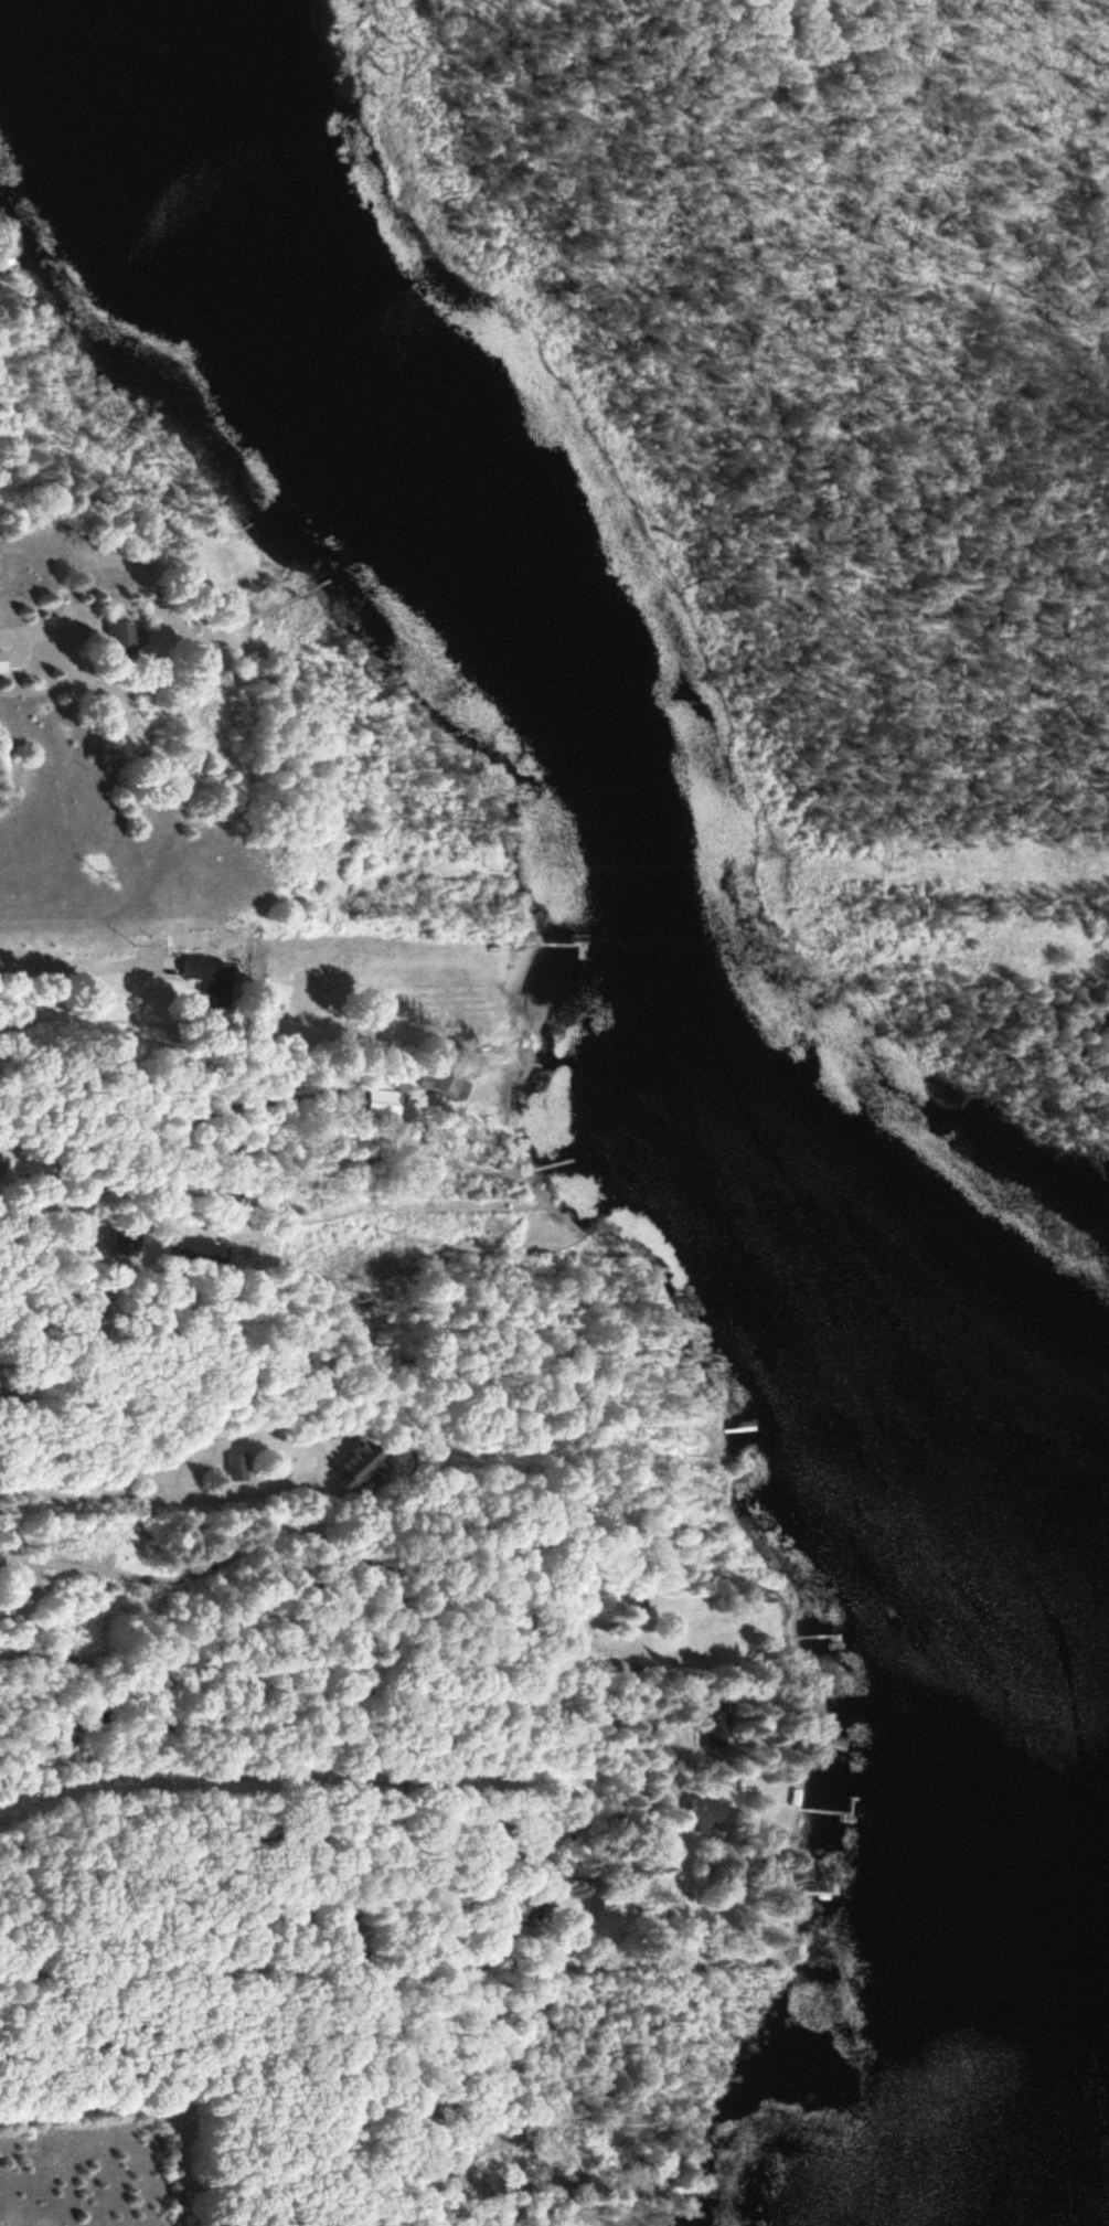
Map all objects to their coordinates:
building: (114, 640)
building: (211, 979)
building: (447, 1083)
building: (386, 1103)
building: (354, 1466)
building: (238, 1467)
road: (318, 1662)
building: (718, 1719)
road: (245, 1783)
building: (707, 1814)
road: (276, 1842)

